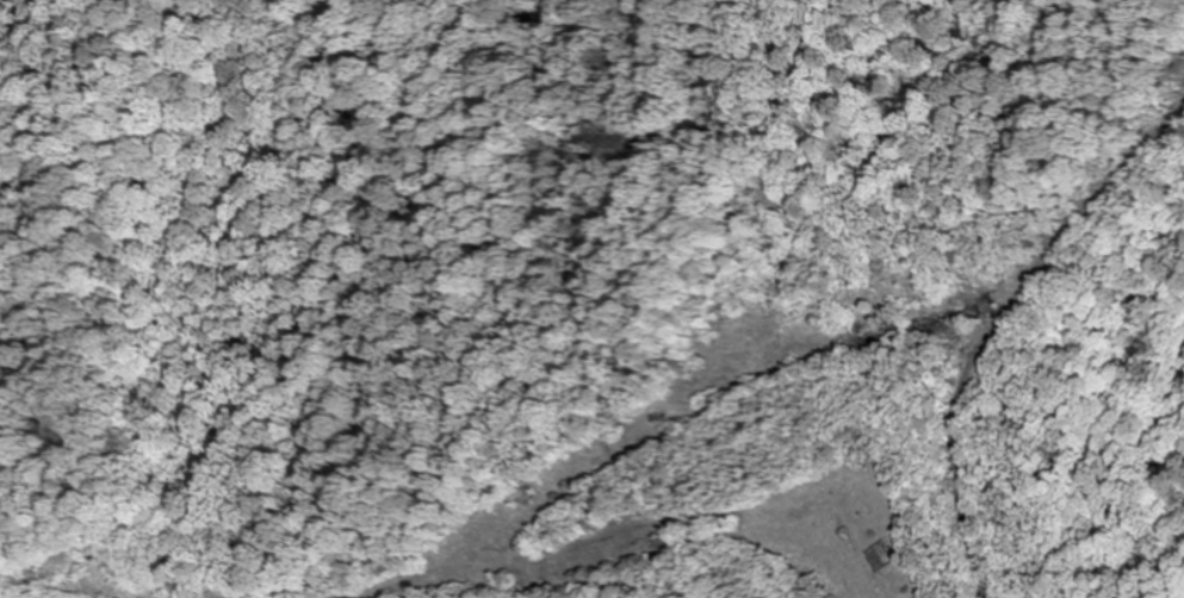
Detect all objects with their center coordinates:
building: (869, 556)

